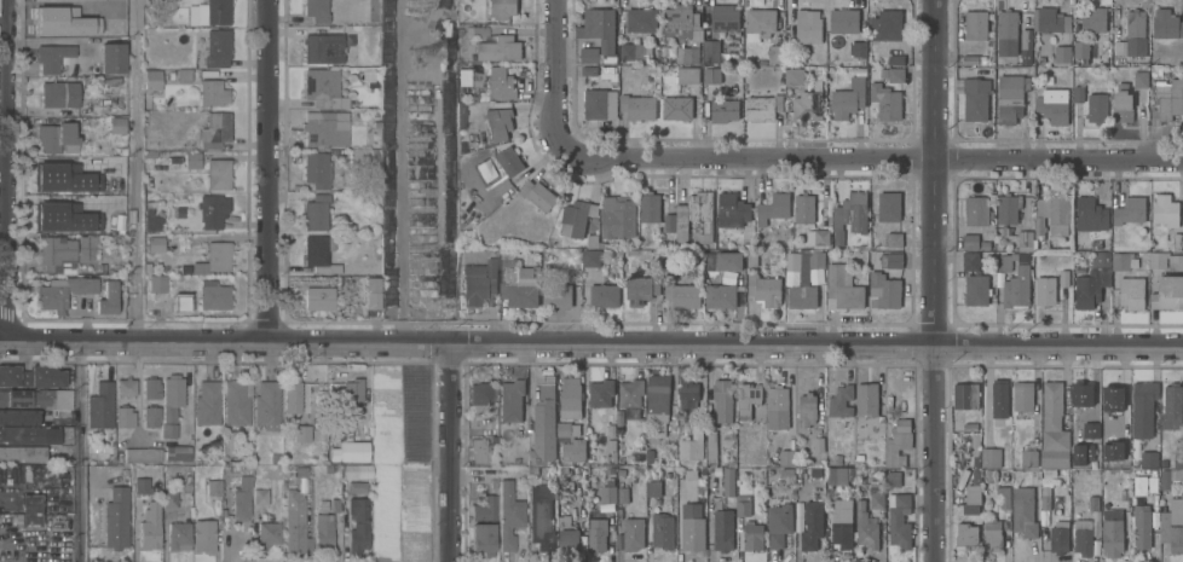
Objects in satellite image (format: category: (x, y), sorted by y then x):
building: (152, 1)
building: (501, 7)
building: (316, 10)
building: (213, 11)
building: (51, 16)
building: (1095, 18)
building: (641, 19)
building: (1050, 19)
building: (843, 21)
building: (166, 22)
building: (676, 22)
building: (758, 23)
building: (1166, 23)
building: (887, 24)
building: (976, 24)
building: (808, 25)
building: (600, 27)
building: (716, 27)
building: (119, 29)
building: (479, 31)
building: (1008, 33)
building: (1132, 35)
road: (48, 42)
building: (1026, 46)
building: (217, 47)
building: (323, 47)
building: (498, 48)
building: (858, 48)
building: (1080, 48)
building: (631, 51)
building: (664, 51)
building: (774, 53)
building: (1062, 53)
building: (588, 54)
building: (52, 56)
building: (687, 56)
building: (112, 57)
power tower: (422, 57)
building: (882, 59)
building: (896, 59)
building: (970, 59)
building: (790, 60)
building: (656, 62)
building: (588, 70)
building: (1154, 73)
building: (171, 74)
building: (183, 74)
building: (368, 75)
building: (687, 75)
building: (711, 75)
building: (895, 75)
building: (462, 76)
road: (556, 76)
building: (794, 76)
building: (152, 79)
building: (1141, 79)
building: (501, 82)
building: (322, 86)
building: (212, 91)
building: (59, 93)
building: (1078, 93)
building: (1014, 97)
building: (847, 98)
building: (975, 98)
building: (808, 102)
building: (885, 102)
building: (1167, 102)
building: (595, 103)
building: (1123, 103)
building: (1052, 105)
building: (637, 106)
building: (676, 106)
building: (763, 106)
building: (1096, 108)
building: (723, 110)
building: (461, 112)
building: (116, 123)
building: (500, 123)
building: (325, 127)
building: (215, 129)
building: (57, 137)
building: (122, 150)
building: (150, 153)
road: (869, 155)
building: (192, 160)
building: (509, 160)
building: (59, 168)
building: (103, 169)
building: (317, 169)
road: (2, 170)
road: (137, 170)
road: (270, 172)
building: (218, 173)
building: (489, 173)
building: (83, 185)
building: (537, 195)
building: (889, 205)
building: (650, 207)
building: (1008, 207)
building: (772, 208)
building: (804, 208)
building: (212, 209)
building: (733, 210)
building: (976, 210)
building: (1129, 210)
building: (1165, 210)
building: (316, 212)
building: (58, 213)
building: (177, 213)
building: (1090, 214)
building: (617, 215)
building: (849, 215)
building: (1051, 215)
building: (576, 218)
building: (694, 218)
building: (152, 221)
building: (121, 222)
building: (669, 222)
building: (1006, 231)
building: (818, 236)
building: (1025, 238)
building: (894, 239)
building: (593, 241)
building: (970, 241)
building: (1177, 241)
building: (156, 243)
building: (172, 244)
building: (985, 245)
building: (87, 247)
building: (56, 251)
building: (318, 253)
building: (213, 257)
building: (751, 257)
building: (590, 259)
building: (815, 259)
building: (723, 260)
building: (891, 260)
building: (971, 260)
building: (1123, 260)
building: (1165, 260)
building: (1004, 261)
building: (803, 276)
building: (1063, 278)
building: (479, 280)
road: (934, 280)
building: (1092, 280)
building: (157, 282)
building: (518, 283)
building: (641, 288)
building: (842, 288)
building: (1017, 288)
building: (764, 289)
building: (64, 290)
building: (884, 290)
building: (976, 290)
building: (1045, 291)
building: (373, 292)
building: (1131, 292)
building: (1167, 292)
building: (682, 294)
building: (213, 295)
building: (556, 295)
building: (604, 295)
building: (720, 296)
building: (802, 296)
building: (106, 297)
building: (318, 297)
building: (154, 312)
road: (591, 347)
building: (31, 375)
building: (125, 386)
building: (150, 387)
building: (630, 392)
building: (687, 392)
building: (600, 393)
building: (657, 394)
building: (172, 395)
building: (293, 395)
building: (965, 395)
building: (1022, 395)
building: (1080, 395)
building: (1110, 395)
building: (37, 396)
building: (351, 398)
building: (480, 398)
building: (571, 398)
building: (748, 398)
building: (999, 398)
building: (512, 399)
building: (866, 399)
building: (722, 400)
building: (237, 401)
building: (841, 401)
building: (207, 402)
building: (267, 402)
building: (100, 405)
building: (777, 406)
building: (1171, 406)
building: (1142, 407)
building: (807, 409)
building: (151, 415)
building: (18, 416)
building: (123, 416)
building: (330, 427)
building: (543, 427)
building: (970, 427)
building: (660, 428)
building: (1052, 428)
building: (167, 429)
building: (566, 430)
building: (610, 430)
building: (302, 433)
building: (697, 433)
building: (1077, 433)
building: (24, 434)
building: (494, 440)
building: (227, 441)
building: (818, 444)
building: (898, 444)
building: (610, 446)
building: (351, 447)
building: (711, 447)
building: (1086, 447)
building: (478, 450)
building: (573, 450)
building: (975, 451)
building: (23, 452)
road: (81, 452)
building: (177, 452)
road: (449, 453)
building: (143, 454)
building: (648, 457)
building: (786, 457)
building: (859, 457)
building: (989, 457)
building: (276, 458)
building: (635, 458)
building: (1028, 458)
building: (1177, 458)
building: (837, 459)
building: (1149, 459)
building: (532, 470)
building: (564, 470)
building: (786, 470)
building: (354, 471)
building: (815, 473)
building: (93, 474)
building: (652, 474)
building: (689, 475)
building: (837, 476)
building: (989, 476)
building: (881, 477)
building: (1170, 477)
building: (893, 479)
building: (729, 481)
building: (1152, 483)
building: (214, 486)
building: (357, 486)
building: (608, 489)
building: (653, 489)
building: (973, 489)
building: (623, 494)
building: (1124, 494)
building: (260, 496)
building: (876, 496)
building: (1002, 497)
building: (242, 498)
building: (168, 500)
building: (1045, 502)
building: (1092, 503)
building: (335, 505)
building: (743, 505)
building: (31, 509)
building: (970, 509)
building: (298, 511)
building: (1023, 511)
building: (146, 515)
building: (509, 515)
building: (541, 516)
building: (116, 517)
building: (564, 520)
building: (899, 520)
building: (842, 522)
building: (779, 523)
building: (357, 525)
building: (484, 525)
building: (812, 525)
building: (1172, 525)
building: (1141, 526)
building: (692, 527)
building: (866, 527)
building: (723, 529)
building: (323, 532)
building: (660, 532)
building: (1112, 532)
building: (178, 533)
building: (269, 533)
building: (633, 533)
building: (203, 534)
building: (598, 534)
building: (992, 534)
building: (752, 535)
building: (1083, 535)
building: (965, 537)
building: (1058, 537)
building: (569, 540)

